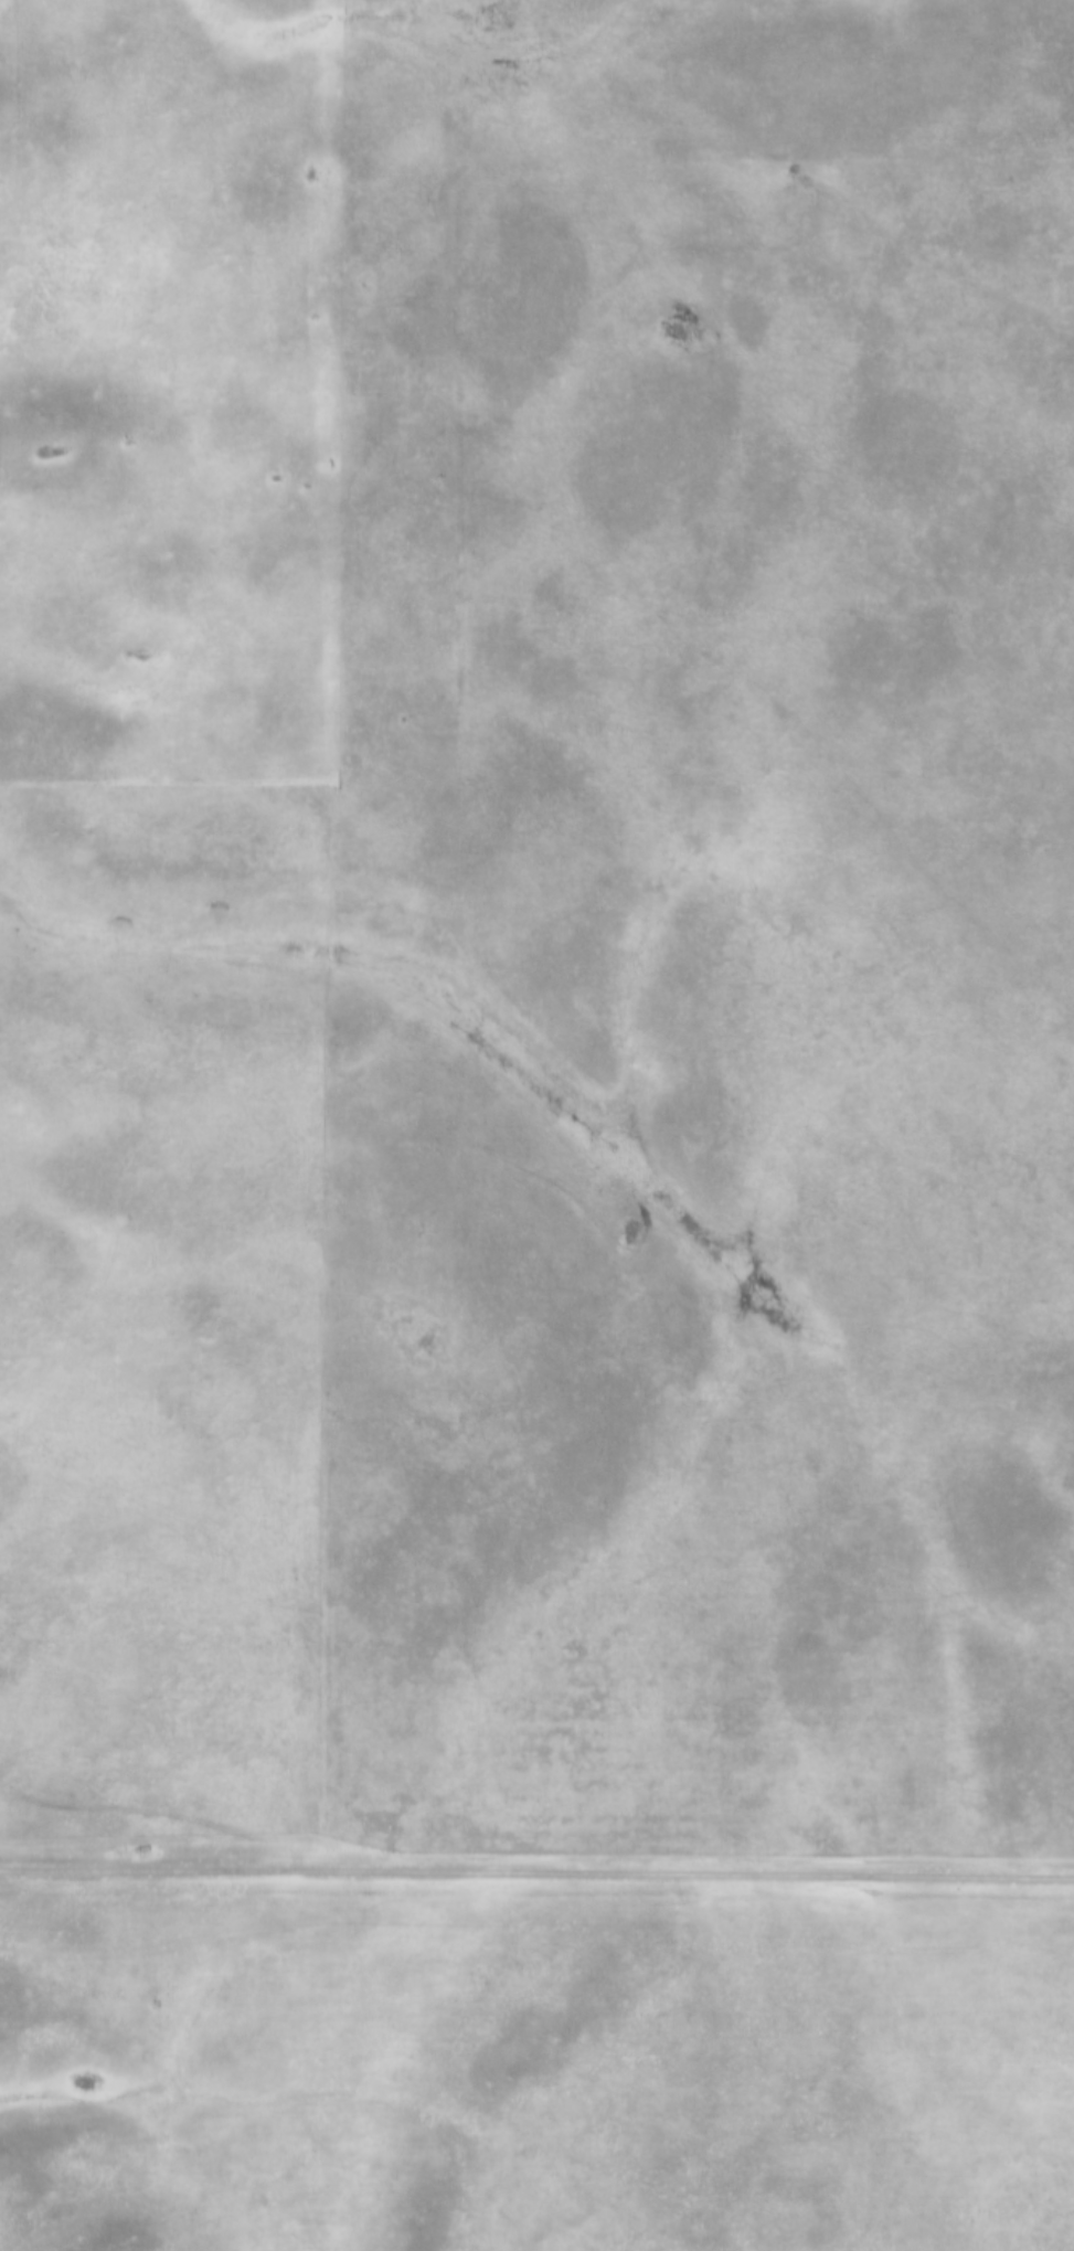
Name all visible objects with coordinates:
road: (536, 1876)

